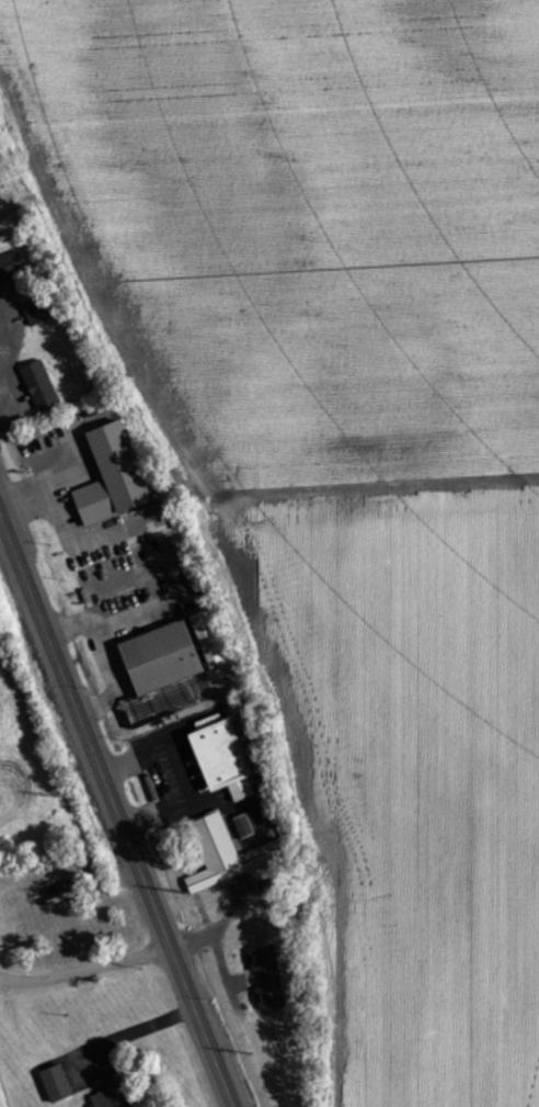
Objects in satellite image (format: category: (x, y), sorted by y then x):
building: (1, 202)
building: (11, 267)
building: (36, 312)
building: (41, 385)
building: (114, 476)
building: (210, 640)
building: (163, 658)
building: (226, 759)
road: (117, 809)
building: (244, 826)
building: (228, 852)
building: (268, 978)
building: (57, 1084)
building: (113, 1094)

